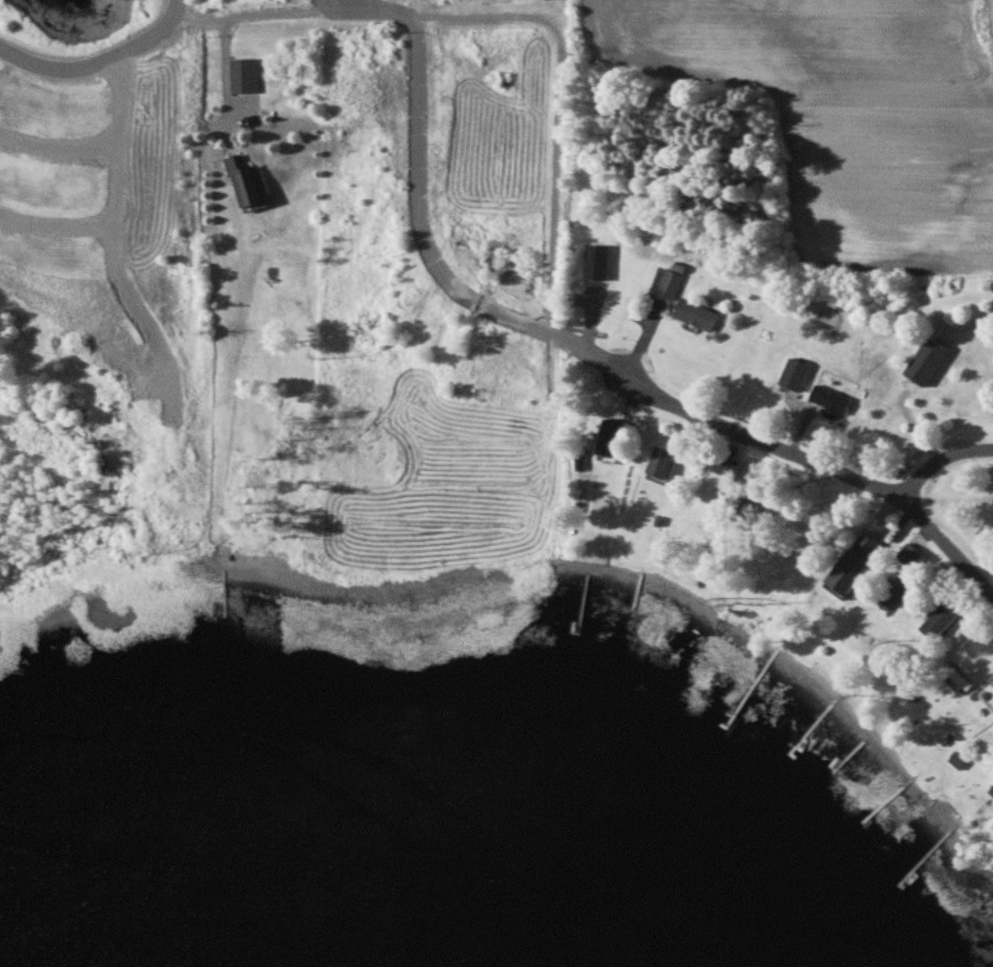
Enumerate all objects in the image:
road: (254, 16)
road: (103, 69)
building: (245, 75)
road: (224, 77)
road: (552, 111)
building: (249, 182)
building: (599, 262)
building: (669, 283)
building: (698, 315)
road: (571, 349)
building: (931, 361)
building: (797, 373)
building: (833, 401)
building: (613, 443)
road: (941, 459)
building: (667, 462)
building: (913, 552)
building: (860, 565)
building: (942, 622)

